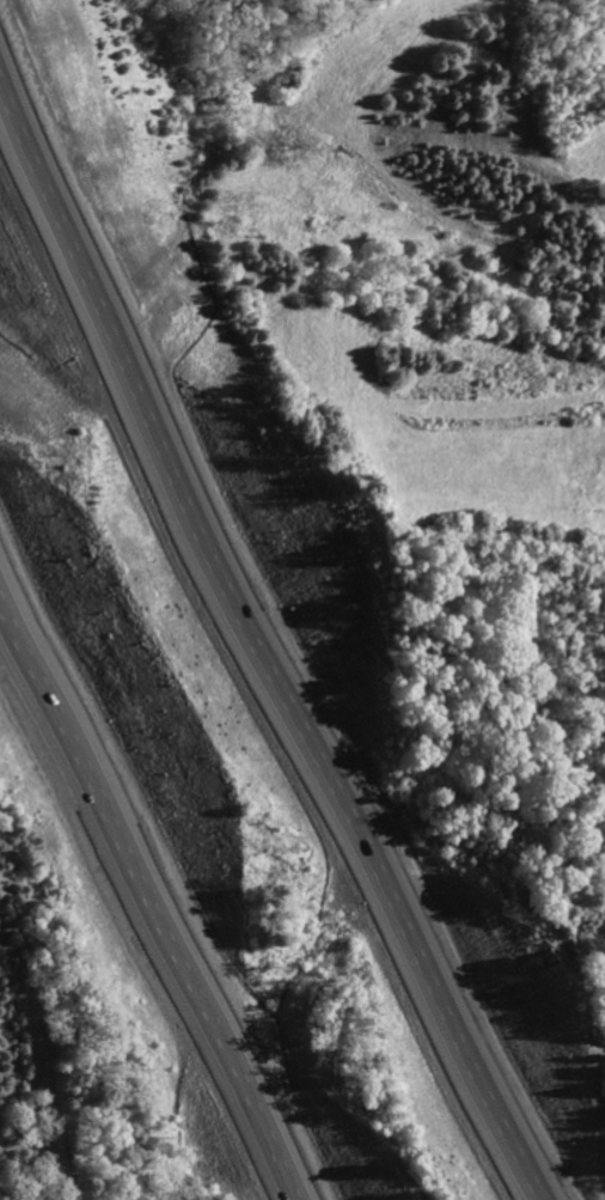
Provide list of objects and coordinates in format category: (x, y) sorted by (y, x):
road: (274, 617)
road: (145, 900)

